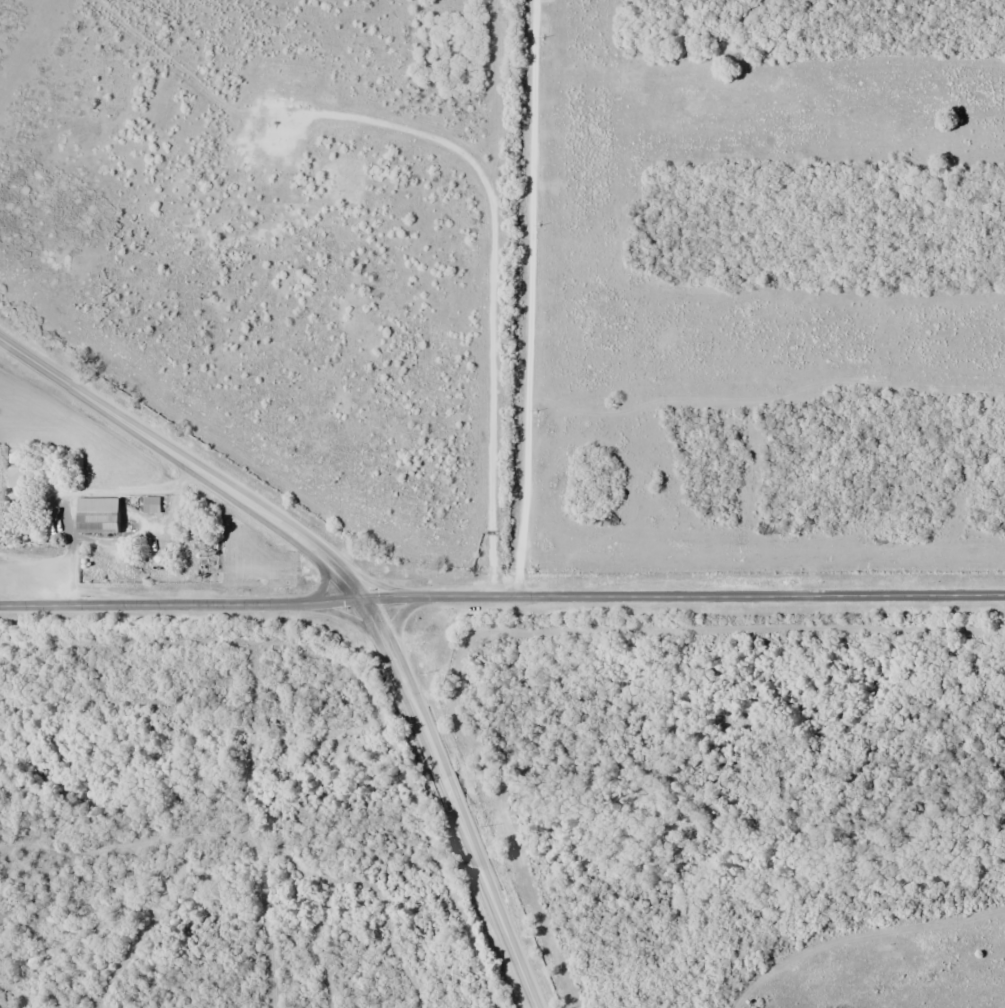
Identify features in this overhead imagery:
road: (528, 298)
building: (13, 478)
building: (154, 503)
building: (102, 514)
road: (269, 515)
road: (323, 581)
road: (380, 585)
road: (502, 596)
road: (399, 614)
road: (346, 616)
road: (447, 788)
road: (494, 904)

